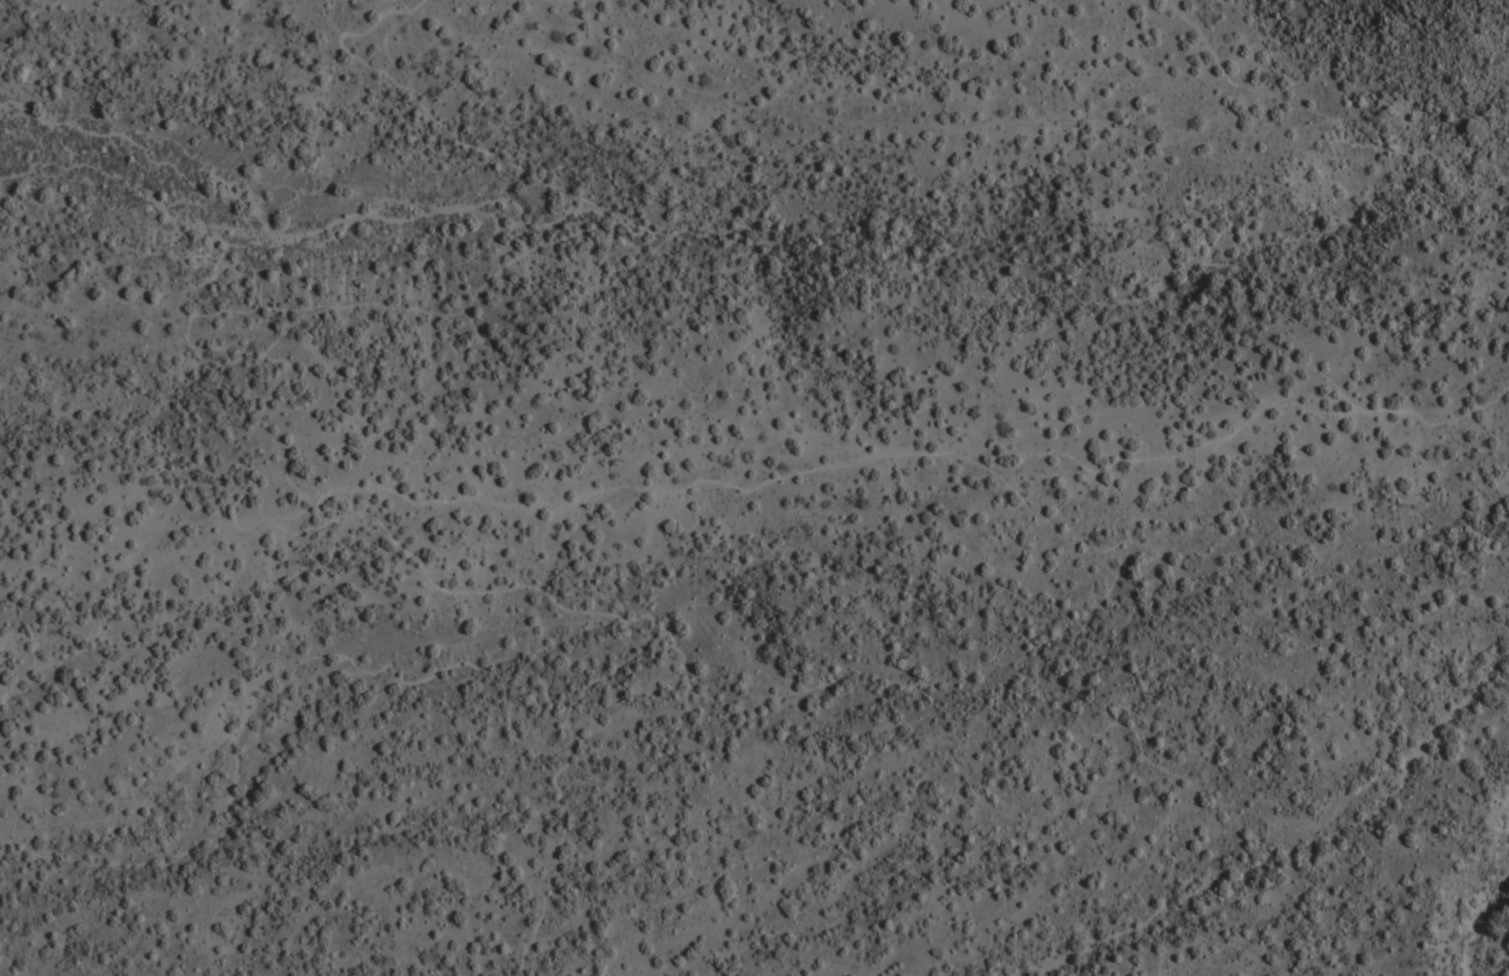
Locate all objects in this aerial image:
road: (1329, 117)
road: (209, 391)
road: (881, 455)
park: (1250, 651)
road: (1098, 730)

